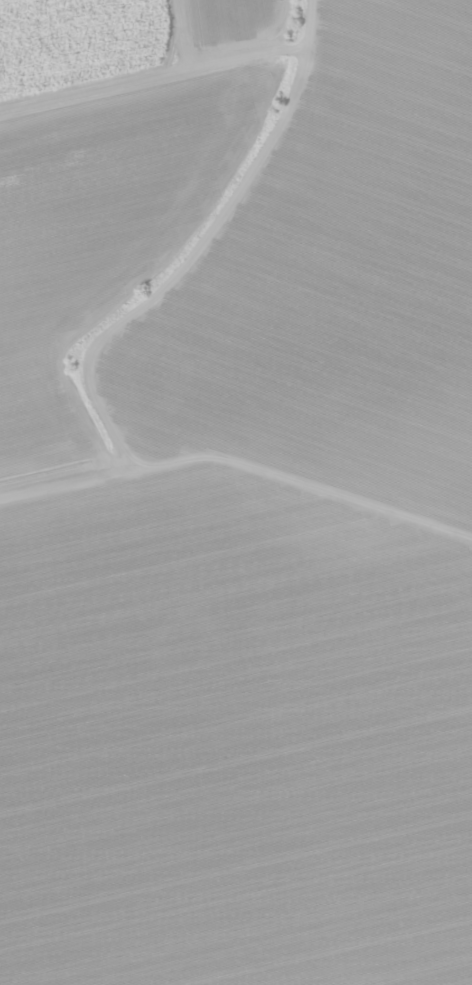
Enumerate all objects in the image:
road: (187, 32)
road: (152, 73)
road: (197, 249)
road: (238, 466)

